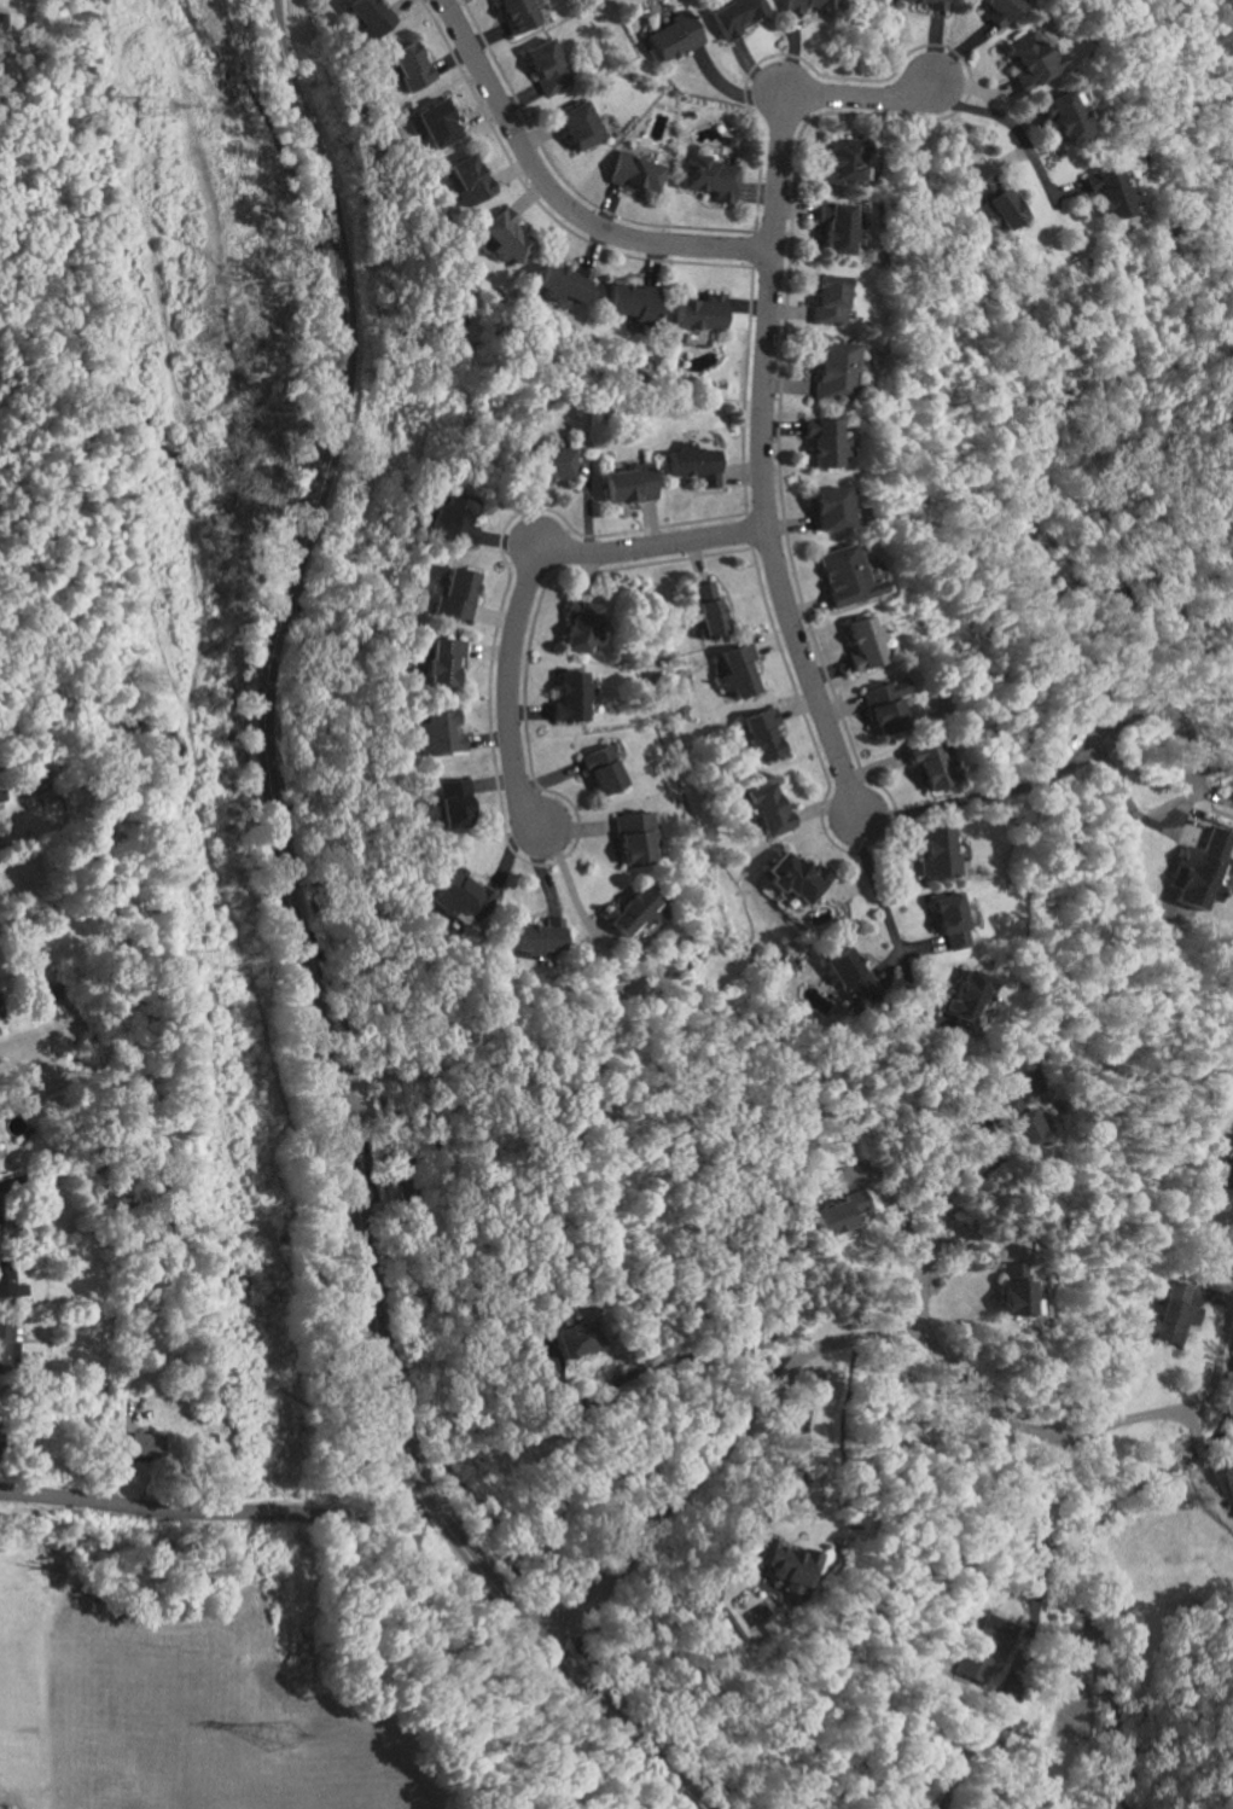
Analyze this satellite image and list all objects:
building: (803, 4)
building: (936, 4)
building: (1000, 10)
building: (522, 12)
building: (371, 14)
building: (735, 14)
building: (673, 36)
building: (1031, 56)
building: (411, 64)
building: (547, 65)
power tower: (152, 109)
building: (1064, 116)
building: (437, 122)
building: (580, 124)
road: (1011, 127)
building: (716, 146)
building: (845, 159)
building: (635, 171)
building: (708, 176)
building: (470, 178)
road: (562, 178)
building: (1107, 191)
road: (556, 197)
building: (994, 197)
road: (536, 200)
building: (838, 226)
building: (507, 237)
road: (754, 249)
building: (564, 281)
building: (827, 299)
building: (632, 301)
building: (699, 312)
building: (834, 368)
road: (780, 370)
road: (743, 389)
road: (760, 389)
building: (825, 442)
building: (552, 461)
building: (693, 463)
building: (629, 483)
building: (826, 507)
building: (452, 520)
road: (748, 530)
building: (844, 575)
road: (525, 591)
building: (458, 592)
building: (709, 609)
building: (580, 627)
building: (863, 642)
building: (444, 661)
building: (738, 670)
building: (570, 696)
building: (885, 705)
building: (441, 734)
building: (762, 734)
building: (930, 763)
building: (601, 769)
road: (1030, 783)
building: (0, 796)
building: (454, 802)
building: (768, 809)
building: (633, 838)
road: (507, 843)
building: (937, 850)
building: (797, 876)
building: (463, 896)
road: (884, 900)
building: (952, 911)
building: (634, 913)
building: (540, 936)
road: (301, 953)
power tower: (222, 960)
building: (850, 982)
building: (965, 996)
building: (1023, 1077)
building: (1022, 1128)
building: (838, 1212)
road: (930, 1235)
building: (8, 1281)
building: (1013, 1290)
building: (1171, 1315)
building: (577, 1339)
building: (2, 1342)
road: (825, 1348)
road: (1216, 1350)
road: (698, 1354)
building: (0, 1430)
road: (818, 1433)
building: (146, 1446)
road: (1215, 1456)
road: (266, 1512)
road: (411, 1523)
building: (1026, 1553)
building: (982, 1648)
road: (145, 1679)
power tower: (283, 1735)
road: (1039, 1762)

